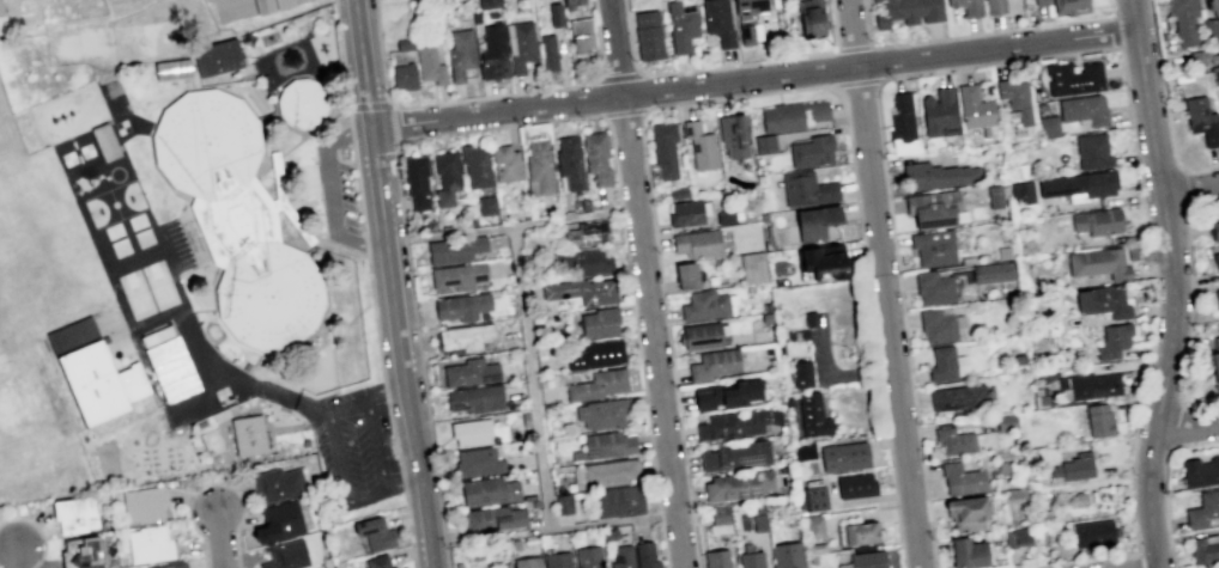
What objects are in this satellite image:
building: (1041, 2)
building: (487, 4)
building: (571, 4)
building: (1212, 4)
building: (271, 6)
building: (966, 6)
building: (994, 6)
building: (1068, 6)
building: (906, 11)
building: (554, 14)
road: (1133, 14)
building: (475, 16)
building: (4, 17)
building: (809, 17)
building: (748, 19)
building: (1182, 19)
building: (717, 22)
building: (681, 25)
building: (1211, 30)
road: (975, 33)
building: (581, 35)
building: (648, 35)
park: (141, 39)
building: (404, 43)
building: (520, 44)
road: (853, 48)
building: (547, 53)
building: (460, 54)
building: (493, 54)
building: (1213, 57)
building: (218, 59)
road: (342, 60)
building: (430, 65)
road: (724, 66)
building: (172, 71)
building: (1215, 74)
road: (620, 75)
road: (757, 77)
building: (404, 78)
building: (1073, 78)
road: (859, 81)
road: (483, 97)
building: (1015, 102)
building: (302, 104)
road: (370, 105)
building: (974, 106)
road: (650, 109)
building: (1082, 109)
road: (623, 112)
building: (939, 112)
building: (792, 115)
building: (1201, 120)
road: (393, 126)
road: (498, 126)
building: (902, 126)
building: (1048, 126)
road: (352, 133)
building: (733, 135)
building: (764, 143)
building: (699, 145)
building: (663, 148)
building: (812, 151)
building: (1092, 151)
road: (275, 155)
building: (595, 158)
building: (504, 163)
building: (569, 164)
building: (475, 165)
building: (539, 167)
building: (932, 176)
building: (445, 177)
building: (416, 181)
building: (1079, 184)
road: (1190, 188)
building: (806, 189)
road: (327, 190)
road: (358, 190)
parking lot: (335, 191)
building: (1020, 193)
building: (678, 194)
building: (994, 196)
building: (583, 203)
building: (486, 204)
building: (934, 208)
road: (620, 212)
building: (685, 212)
building: (724, 215)
building: (236, 219)
building: (814, 221)
building: (1096, 221)
road: (515, 226)
building: (1214, 230)
building: (586, 233)
road: (405, 238)
building: (697, 244)
road: (336, 245)
road: (365, 246)
building: (933, 246)
building: (455, 249)
building: (1002, 251)
building: (1215, 259)
building: (590, 261)
building: (821, 261)
building: (1098, 263)
building: (752, 268)
building: (993, 271)
building: (685, 275)
road: (170, 276)
building: (457, 276)
building: (780, 282)
road: (398, 283)
road: (648, 283)
road: (884, 283)
building: (933, 286)
road: (139, 291)
building: (581, 291)
building: (1217, 297)
road: (1172, 298)
building: (1108, 301)
building: (703, 305)
building: (461, 306)
parking lot: (168, 310)
building: (809, 318)
building: (599, 322)
road: (170, 323)
building: (936, 324)
building: (156, 335)
building: (796, 335)
building: (465, 336)
building: (699, 336)
building: (1112, 340)
building: (780, 349)
building: (595, 355)
building: (1215, 362)
road: (639, 364)
building: (714, 364)
building: (946, 364)
building: (172, 372)
building: (469, 372)
road: (878, 372)
building: (801, 374)
road: (836, 374)
building: (95, 375)
road: (243, 384)
building: (596, 385)
building: (1087, 385)
building: (726, 393)
building: (958, 397)
road: (372, 398)
building: (474, 398)
building: (787, 401)
road: (426, 405)
road: (389, 413)
building: (601, 414)
building: (812, 415)
building: (524, 419)
building: (1098, 420)
building: (1005, 422)
building: (732, 425)
road: (1188, 426)
building: (471, 432)
building: (244, 436)
building: (954, 440)
road: (539, 441)
building: (607, 444)
road: (374, 448)
parking lot: (356, 450)
building: (802, 451)
building: (735, 456)
building: (843, 457)
building: (477, 462)
building: (1073, 466)
road: (346, 471)
building: (1200, 472)
building: (611, 474)
road: (892, 475)
building: (962, 478)
road: (213, 481)
building: (281, 484)
building: (738, 485)
building: (855, 485)
road: (404, 489)
building: (489, 490)
building: (1014, 493)
building: (814, 497)
building: (1077, 499)
building: (617, 501)
building: (563, 503)
building: (151, 507)
road: (1164, 507)
building: (1202, 508)
building: (966, 512)
road: (659, 514)
building: (83, 517)
building: (492, 518)
building: (718, 519)
building: (284, 523)
building: (758, 523)
building: (813, 526)
road: (38, 527)
building: (860, 532)
building: (1092, 532)
building: (608, 535)
building: (382, 537)
building: (1017, 537)
road: (222, 538)
building: (148, 544)
road: (662, 544)
building: (815, 548)
building: (1205, 549)
building: (966, 552)
building: (90, 554)
building: (645, 555)
building: (786, 555)
road: (16, 556)
building: (286, 556)
building: (587, 557)
building: (621, 557)
building: (750, 557)
building: (716, 558)
building: (556, 560)
building: (865, 560)
building: (376, 561)
building: (526, 562)
road: (328, 564)
building: (505, 564)
building: (180, 567)
building: (393, 567)

